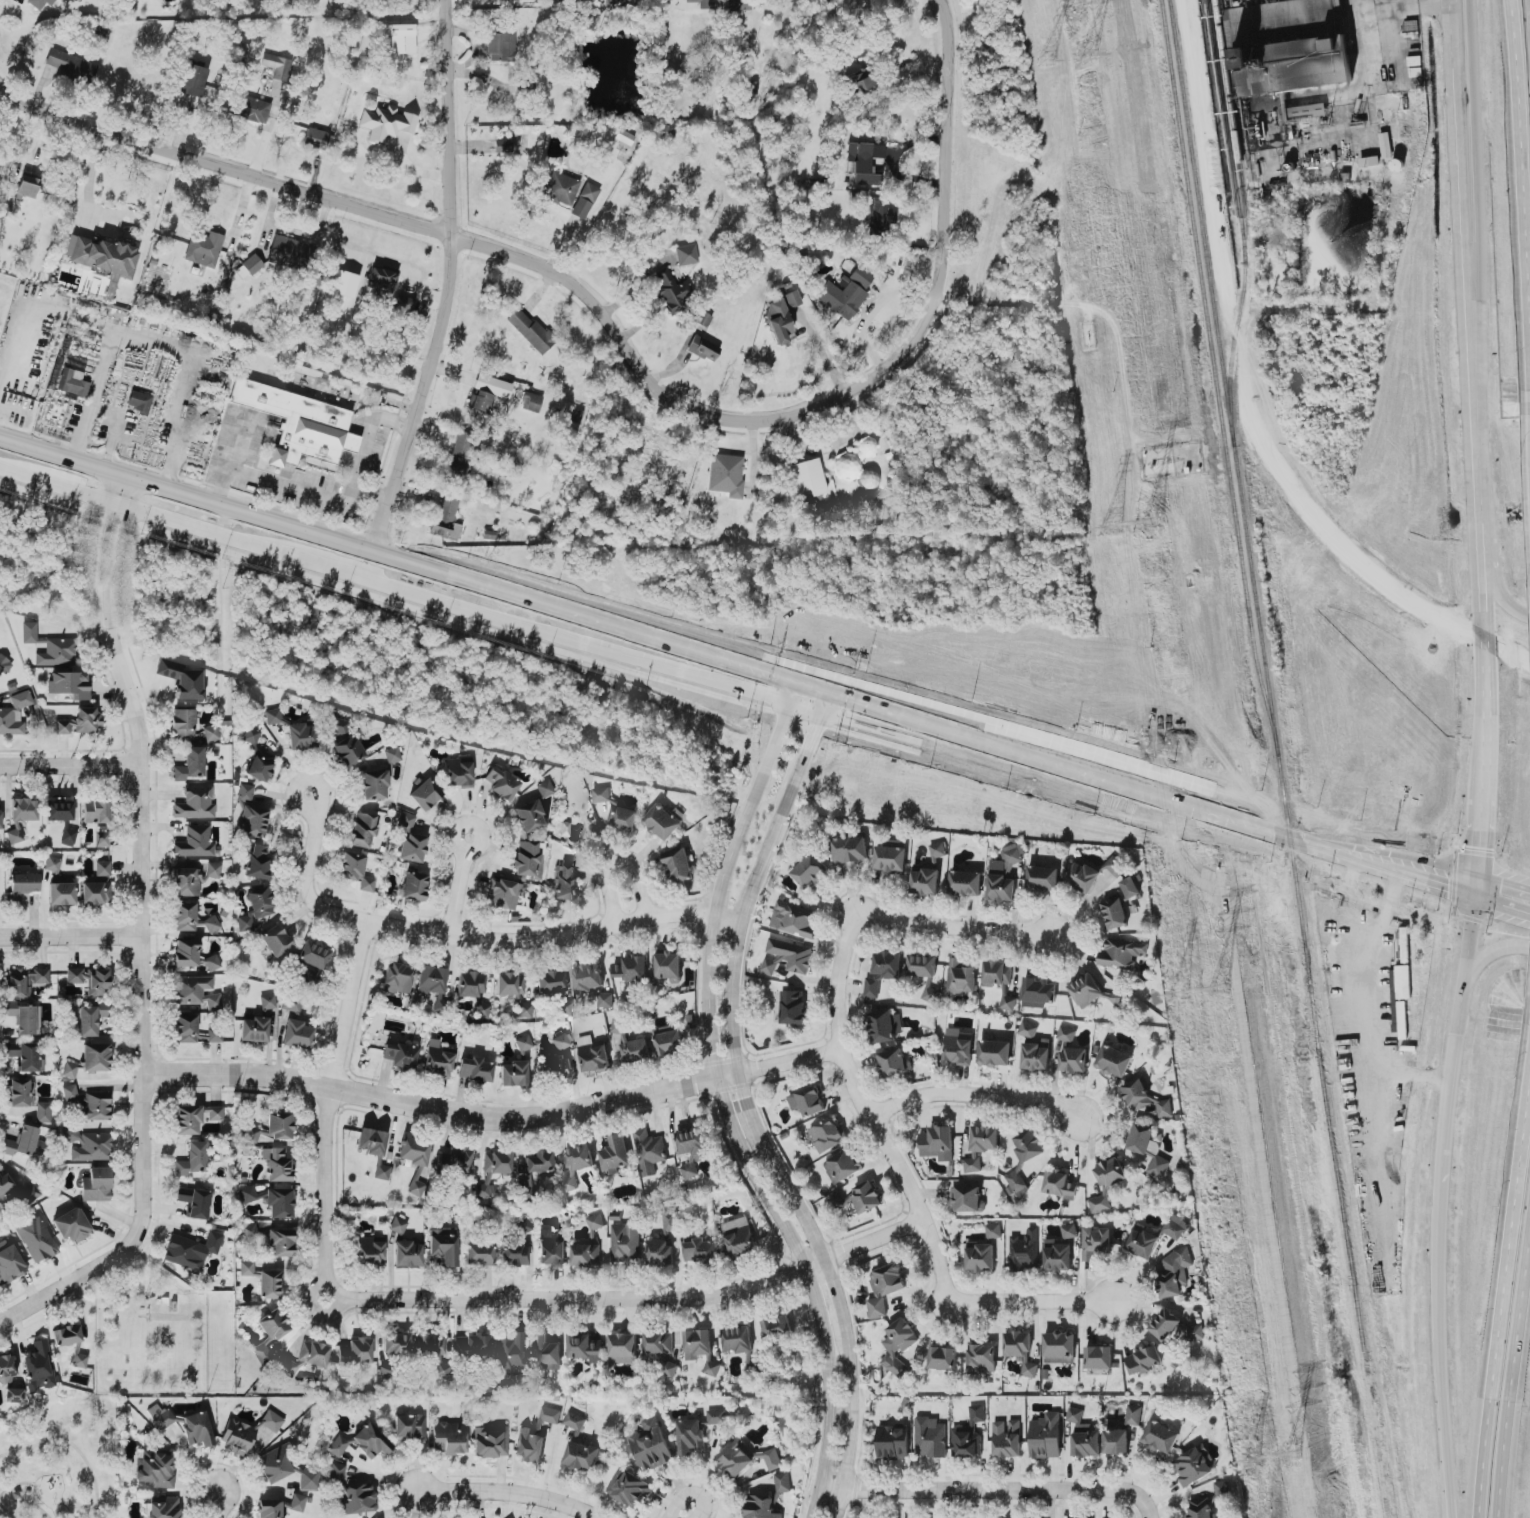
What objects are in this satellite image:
building: (40, 2)
building: (619, 3)
building: (702, 3)
building: (399, 38)
road: (1455, 38)
road: (1460, 38)
building: (500, 42)
power tower: (1085, 56)
road: (873, 60)
power tower: (1045, 61)
building: (70, 65)
building: (277, 66)
building: (1295, 70)
building: (859, 82)
building: (253, 109)
building: (386, 122)
railway: (1234, 131)
building: (315, 138)
building: (501, 145)
building: (863, 162)
building: (27, 185)
building: (559, 187)
building: (584, 200)
railway: (1241, 222)
building: (203, 247)
building: (288, 253)
building: (685, 254)
building: (101, 256)
building: (249, 265)
building: (668, 291)
building: (844, 294)
road: (451, 295)
building: (403, 303)
building: (780, 316)
building: (529, 330)
road: (625, 341)
road: (152, 342)
building: (700, 345)
railway: (1216, 378)
building: (72, 382)
building: (492, 386)
building: (138, 401)
building: (479, 401)
building: (298, 423)
road: (113, 429)
building: (461, 444)
road: (366, 452)
building: (847, 469)
building: (725, 475)
road: (1480, 476)
building: (806, 478)
road: (278, 485)
road: (186, 494)
building: (445, 519)
road: (180, 523)
power tower: (1152, 523)
power tower: (1111, 528)
railway: (1338, 539)
road: (1500, 597)
building: (28, 632)
road: (591, 644)
building: (56, 652)
building: (3, 666)
railway: (1265, 669)
building: (181, 678)
building: (69, 684)
building: (13, 714)
building: (272, 716)
building: (182, 721)
road: (860, 721)
building: (78, 722)
building: (336, 727)
building: (210, 733)
building: (251, 736)
building: (301, 736)
building: (392, 754)
building: (189, 764)
road: (69, 766)
building: (259, 767)
building: (457, 772)
building: (500, 782)
building: (374, 784)
building: (544, 788)
road: (1104, 788)
building: (245, 792)
building: (425, 793)
building: (194, 803)
road: (318, 804)
building: (23, 809)
building: (616, 810)
building: (95, 812)
building: (528, 816)
building: (64, 818)
building: (0, 819)
building: (405, 820)
building: (252, 821)
building: (662, 822)
building: (362, 829)
building: (562, 829)
building: (14, 836)
building: (101, 839)
building: (194, 841)
road: (473, 845)
building: (412, 847)
building: (851, 849)
building: (938, 849)
road: (1397, 853)
building: (891, 858)
building: (527, 859)
road: (618, 861)
building: (257, 862)
building: (52, 864)
building: (679, 865)
building: (1115, 866)
building: (356, 870)
building: (101, 871)
building: (811, 871)
road: (139, 873)
building: (1003, 876)
road: (1421, 876)
building: (193, 878)
building: (1084, 878)
building: (1043, 879)
building: (566, 881)
building: (926, 881)
building: (965, 884)
building: (21, 885)
road: (1478, 885)
road: (1504, 885)
building: (413, 886)
building: (1131, 887)
road: (456, 892)
building: (61, 893)
building: (94, 893)
building: (503, 894)
traffic signals: (1477, 894)
building: (254, 909)
building: (1115, 913)
building: (797, 919)
building: (191, 920)
road: (955, 925)
road: (69, 936)
road: (475, 938)
building: (275, 940)
building: (1121, 953)
building: (188, 954)
building: (312, 955)
building: (787, 957)
road: (1484, 960)
building: (212, 962)
building: (888, 964)
building: (922, 966)
building: (669, 967)
building: (631, 968)
building: (998, 973)
building: (397, 977)
building: (962, 977)
building: (430, 979)
building: (24, 980)
building: (89, 980)
building: (550, 981)
building: (471, 983)
building: (510, 983)
building: (592, 983)
building: (873, 987)
power tower: (1218, 989)
building: (1086, 990)
building: (194, 991)
building: (1039, 992)
power tower: (1178, 994)
building: (1117, 998)
building: (267, 1001)
building: (1009, 1003)
building: (290, 1005)
building: (523, 1007)
building: (794, 1007)
building: (23, 1017)
building: (90, 1018)
building: (253, 1029)
building: (1029, 1029)
building: (193, 1030)
building: (1067, 1033)
building: (296, 1034)
building: (522, 1042)
building: (669, 1042)
building: (632, 1045)
building: (958, 1046)
building: (995, 1053)
building: (24, 1055)
building: (400, 1055)
building: (593, 1055)
building: (1036, 1055)
building: (95, 1057)
building: (558, 1057)
building: (436, 1059)
building: (1074, 1059)
building: (1114, 1061)
building: (893, 1062)
building: (474, 1069)
building: (69, 1070)
building: (513, 1073)
building: (18, 1092)
road: (975, 1097)
building: (1146, 1099)
building: (808, 1101)
building: (87, 1103)
building: (42, 1111)
road: (727, 1112)
road: (867, 1112)
road: (491, 1116)
road: (751, 1116)
building: (193, 1117)
building: (278, 1126)
building: (253, 1132)
building: (827, 1135)
building: (1141, 1138)
building: (20, 1142)
building: (938, 1143)
building: (86, 1144)
building: (374, 1149)
building: (693, 1150)
building: (414, 1151)
building: (647, 1152)
building: (616, 1154)
building: (1022, 1155)
building: (580, 1157)
building: (191, 1159)
building: (453, 1161)
building: (538, 1161)
building: (276, 1163)
building: (843, 1166)
building: (1157, 1166)
building: (491, 1169)
building: (95, 1184)
building: (1107, 1184)
building: (1060, 1185)
building: (6, 1186)
building: (415, 1187)
building: (249, 1194)
building: (866, 1197)
building: (967, 1198)
building: (193, 1201)
building: (279, 1203)
road: (1431, 1205)
building: (595, 1222)
building: (670, 1223)
building: (71, 1225)
building: (397, 1225)
building: (1176, 1227)
building: (994, 1230)
building: (1069, 1230)
building: (249, 1232)
building: (739, 1237)
building: (35, 1239)
building: (279, 1242)
building: (1096, 1242)
building: (626, 1243)
building: (1143, 1243)
building: (444, 1246)
building: (551, 1249)
building: (190, 1250)
building: (701, 1250)
building: (369, 1251)
building: (1024, 1251)
building: (660, 1252)
building: (407, 1253)
building: (478, 1253)
building: (513, 1254)
building: (1058, 1254)
building: (980, 1255)
building: (9, 1261)
building: (245, 1268)
building: (1174, 1273)
building: (268, 1284)
building: (885, 1287)
road: (45, 1289)
road: (434, 1301)
road: (1032, 1301)
building: (1165, 1324)
building: (778, 1327)
building: (1195, 1330)
building: (269, 1333)
building: (737, 1339)
building: (70, 1342)
building: (698, 1344)
building: (396, 1345)
building: (472, 1345)
building: (899, 1346)
building: (584, 1347)
building: (624, 1348)
building: (509, 1350)
building: (661, 1350)
building: (354, 1351)
building: (546, 1351)
building: (1021, 1351)
building: (433, 1352)
building: (1099, 1357)
building: (305, 1358)
building: (943, 1358)
building: (982, 1358)
building: (1144, 1360)
building: (712, 1366)
building: (38, 1367)
building: (6, 1369)
building: (13, 1395)
building: (977, 1413)
building: (1134, 1415)
building: (159, 1416)
building: (717, 1417)
building: (576, 1419)
building: (270, 1421)
building: (409, 1427)
building: (195, 1429)
building: (690, 1435)
building: (1084, 1435)
building: (1046, 1436)
building: (236, 1437)
building: (448, 1437)
building: (537, 1437)
building: (930, 1437)
building: (1161, 1437)
building: (1007, 1438)
building: (489, 1441)
building: (1116, 1441)
building: (360, 1442)
building: (893, 1442)
building: (967, 1442)
building: (652, 1445)
road: (72, 1446)
building: (582, 1455)
power tower: (1291, 1456)
building: (748, 1458)
power tower: (1253, 1463)
building: (274, 1464)
building: (1192, 1467)
building: (154, 1468)
building: (308, 1479)
building: (783, 1482)
road: (14, 1486)
building: (629, 1488)
building: (1222, 1490)
building: (350, 1492)
road: (508, 1493)
road: (691, 1493)
road: (956, 1493)
road: (1124, 1500)
building: (295, 1502)
road: (28, 1504)
road: (215, 1506)
building: (162, 1507)
building: (761, 1507)
building: (269, 1508)
building: (1201, 1508)
road: (7, 1512)
building: (374, 1517)

